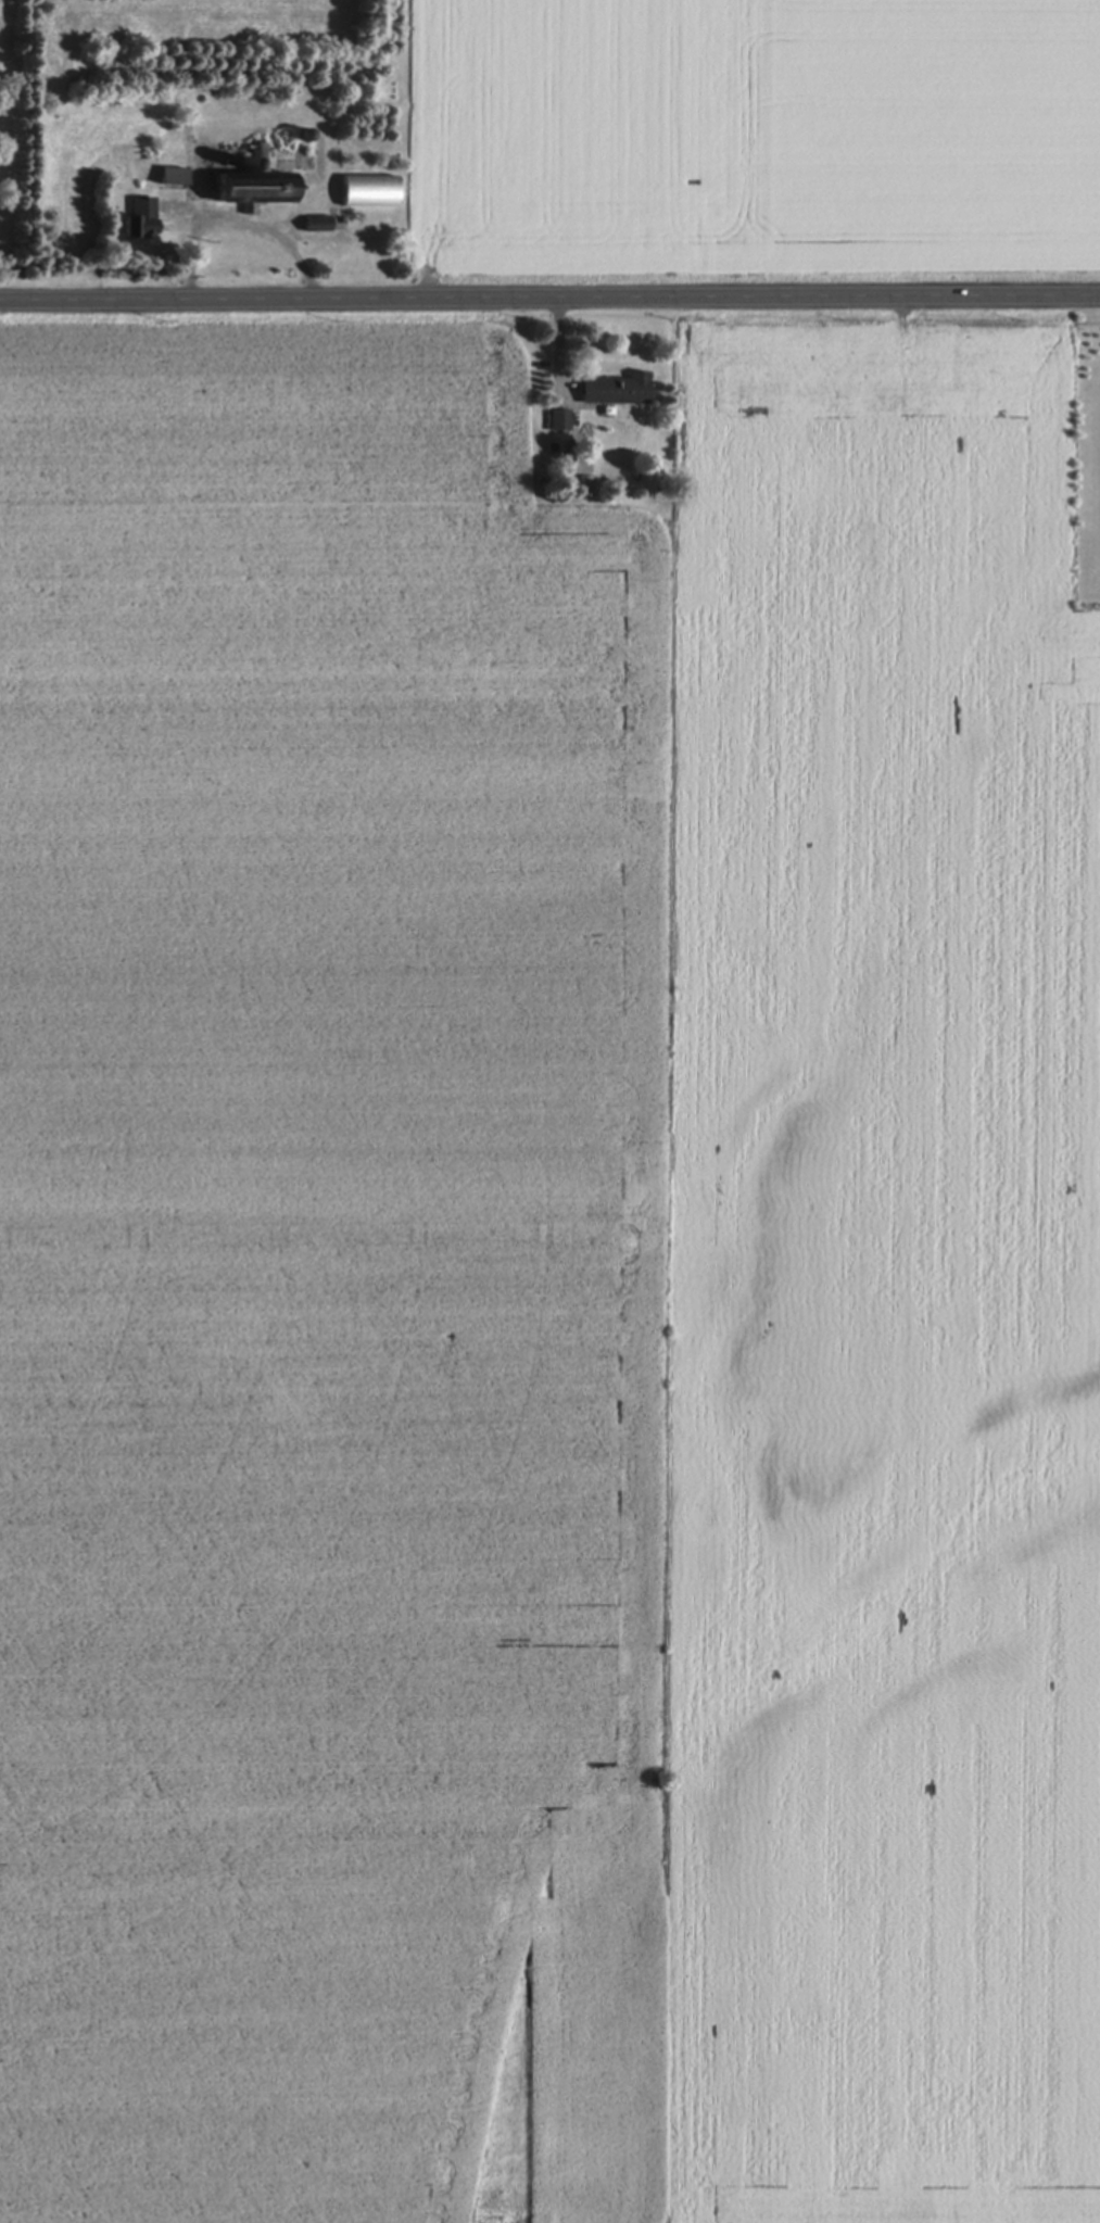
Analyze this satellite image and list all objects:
crop: (579, 129)
crop: (925, 129)
road: (549, 293)
crop: (546, 1285)

